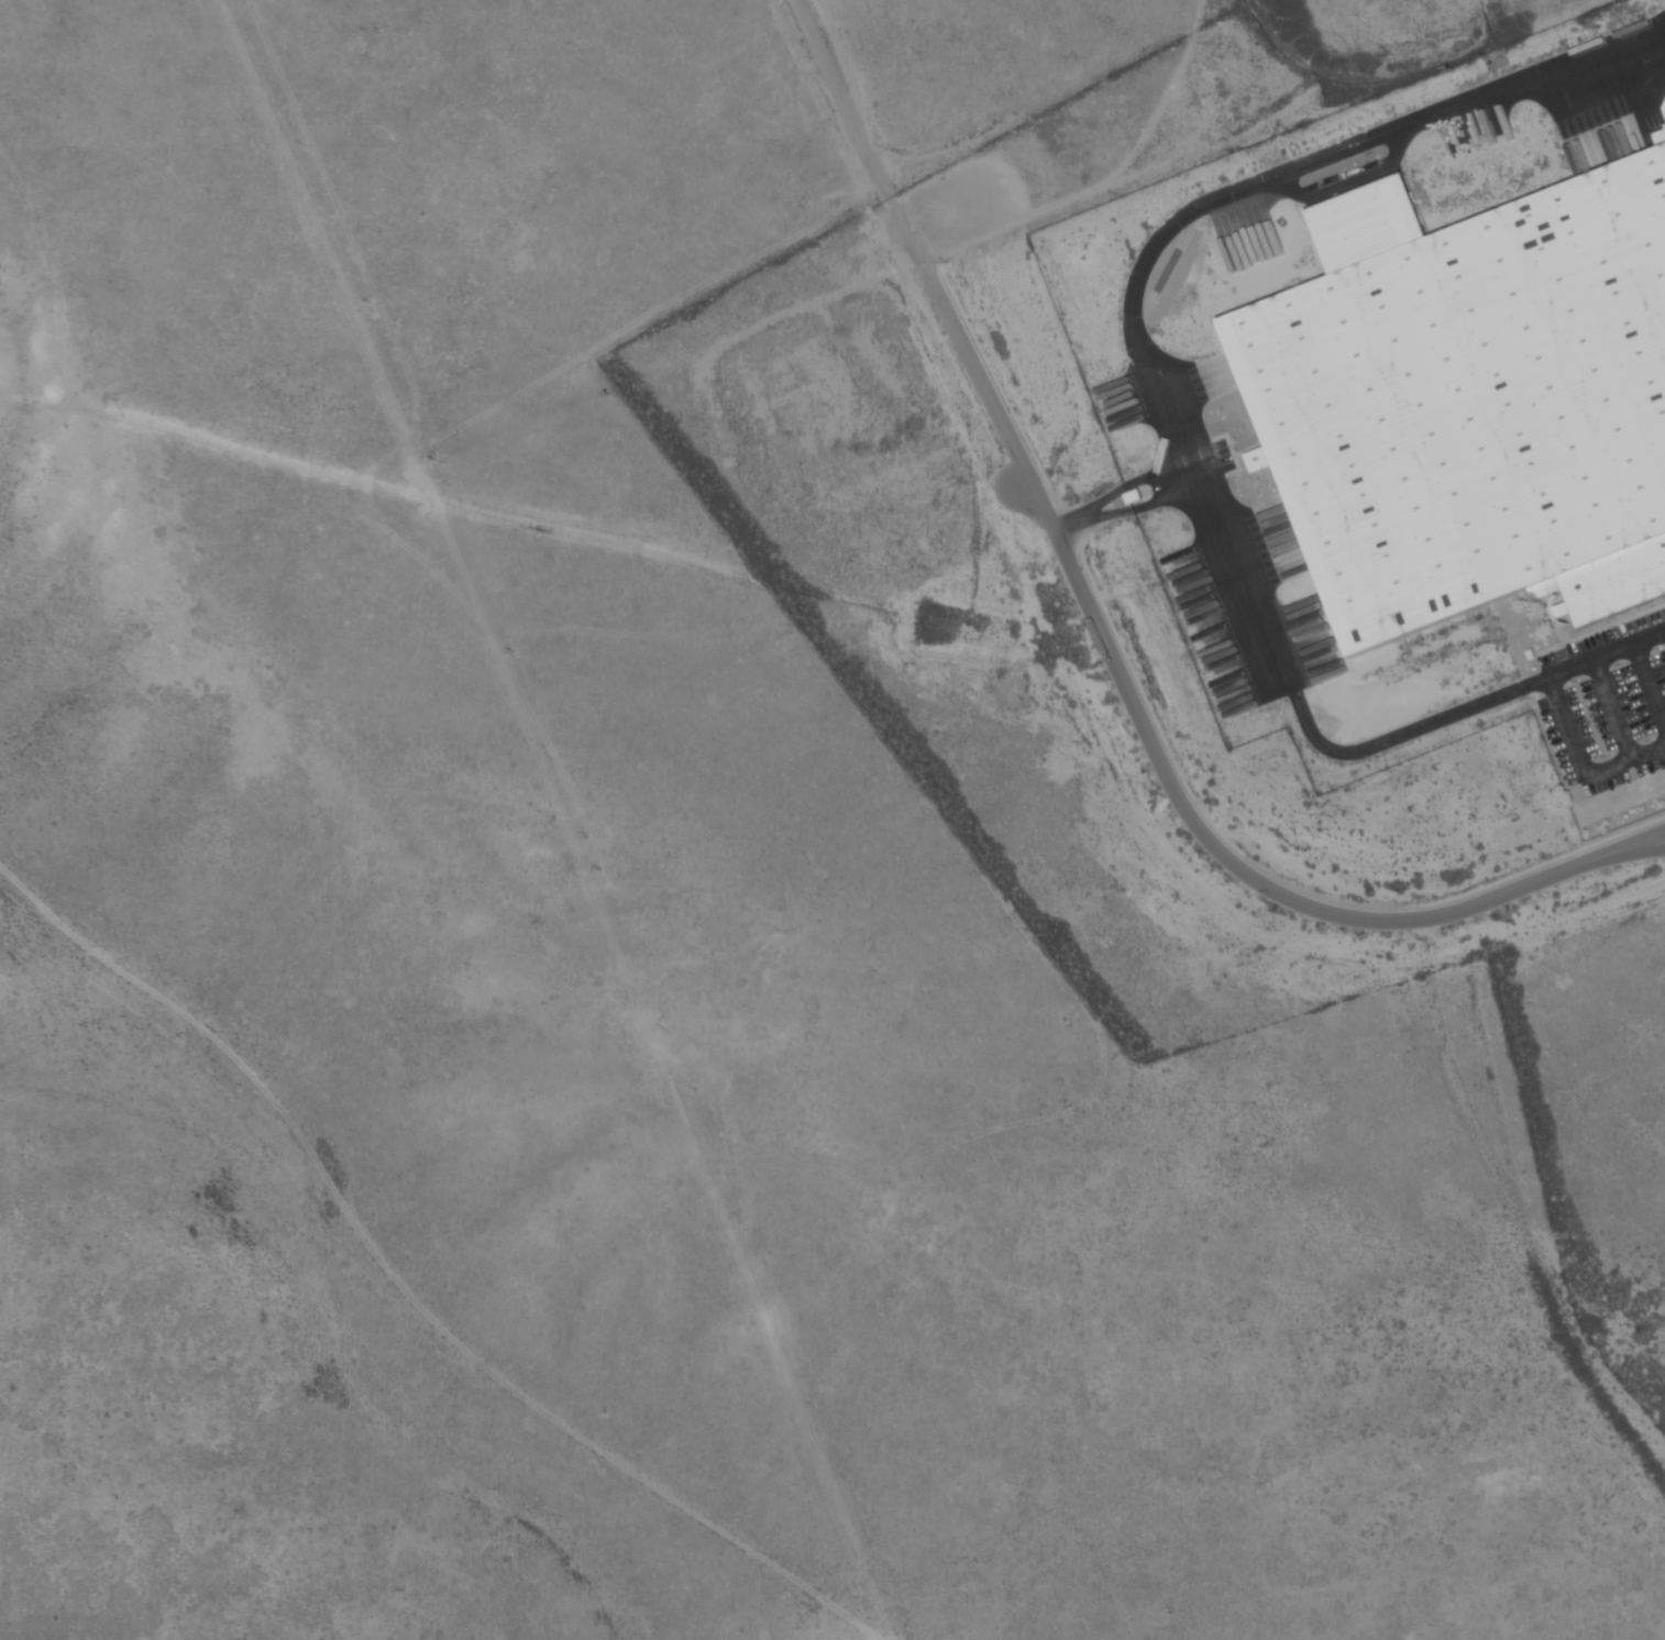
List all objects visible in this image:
building: (1663, 136)
road: (871, 143)
road: (1142, 355)
building: (1475, 401)
road: (1607, 659)
road: (1159, 763)
road: (1581, 767)
road: (1636, 843)
road: (1636, 852)

